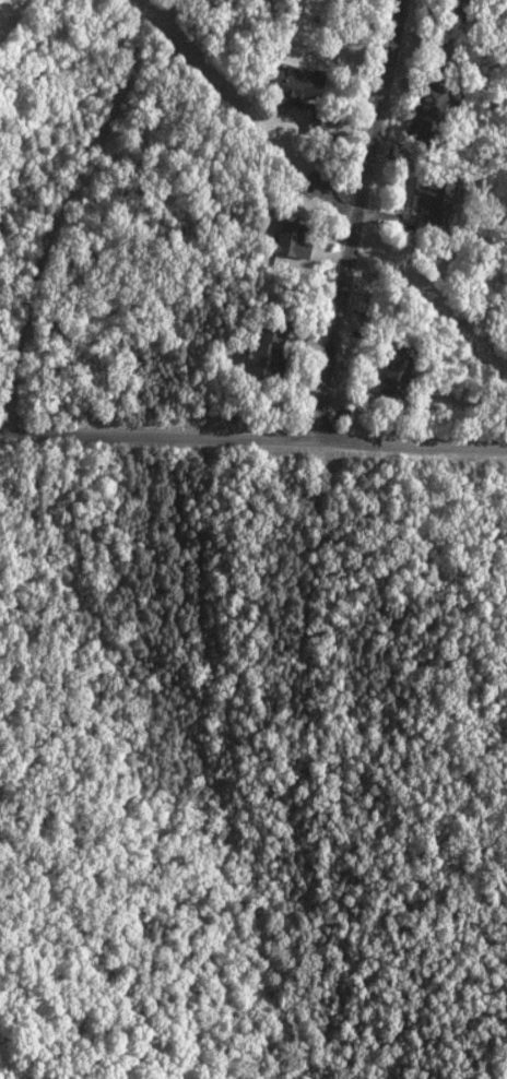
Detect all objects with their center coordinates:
building: (291, 84)
building: (431, 106)
building: (316, 121)
building: (438, 211)
road: (56, 212)
road: (358, 222)
building: (287, 242)
building: (260, 349)
building: (391, 366)
road: (252, 442)

